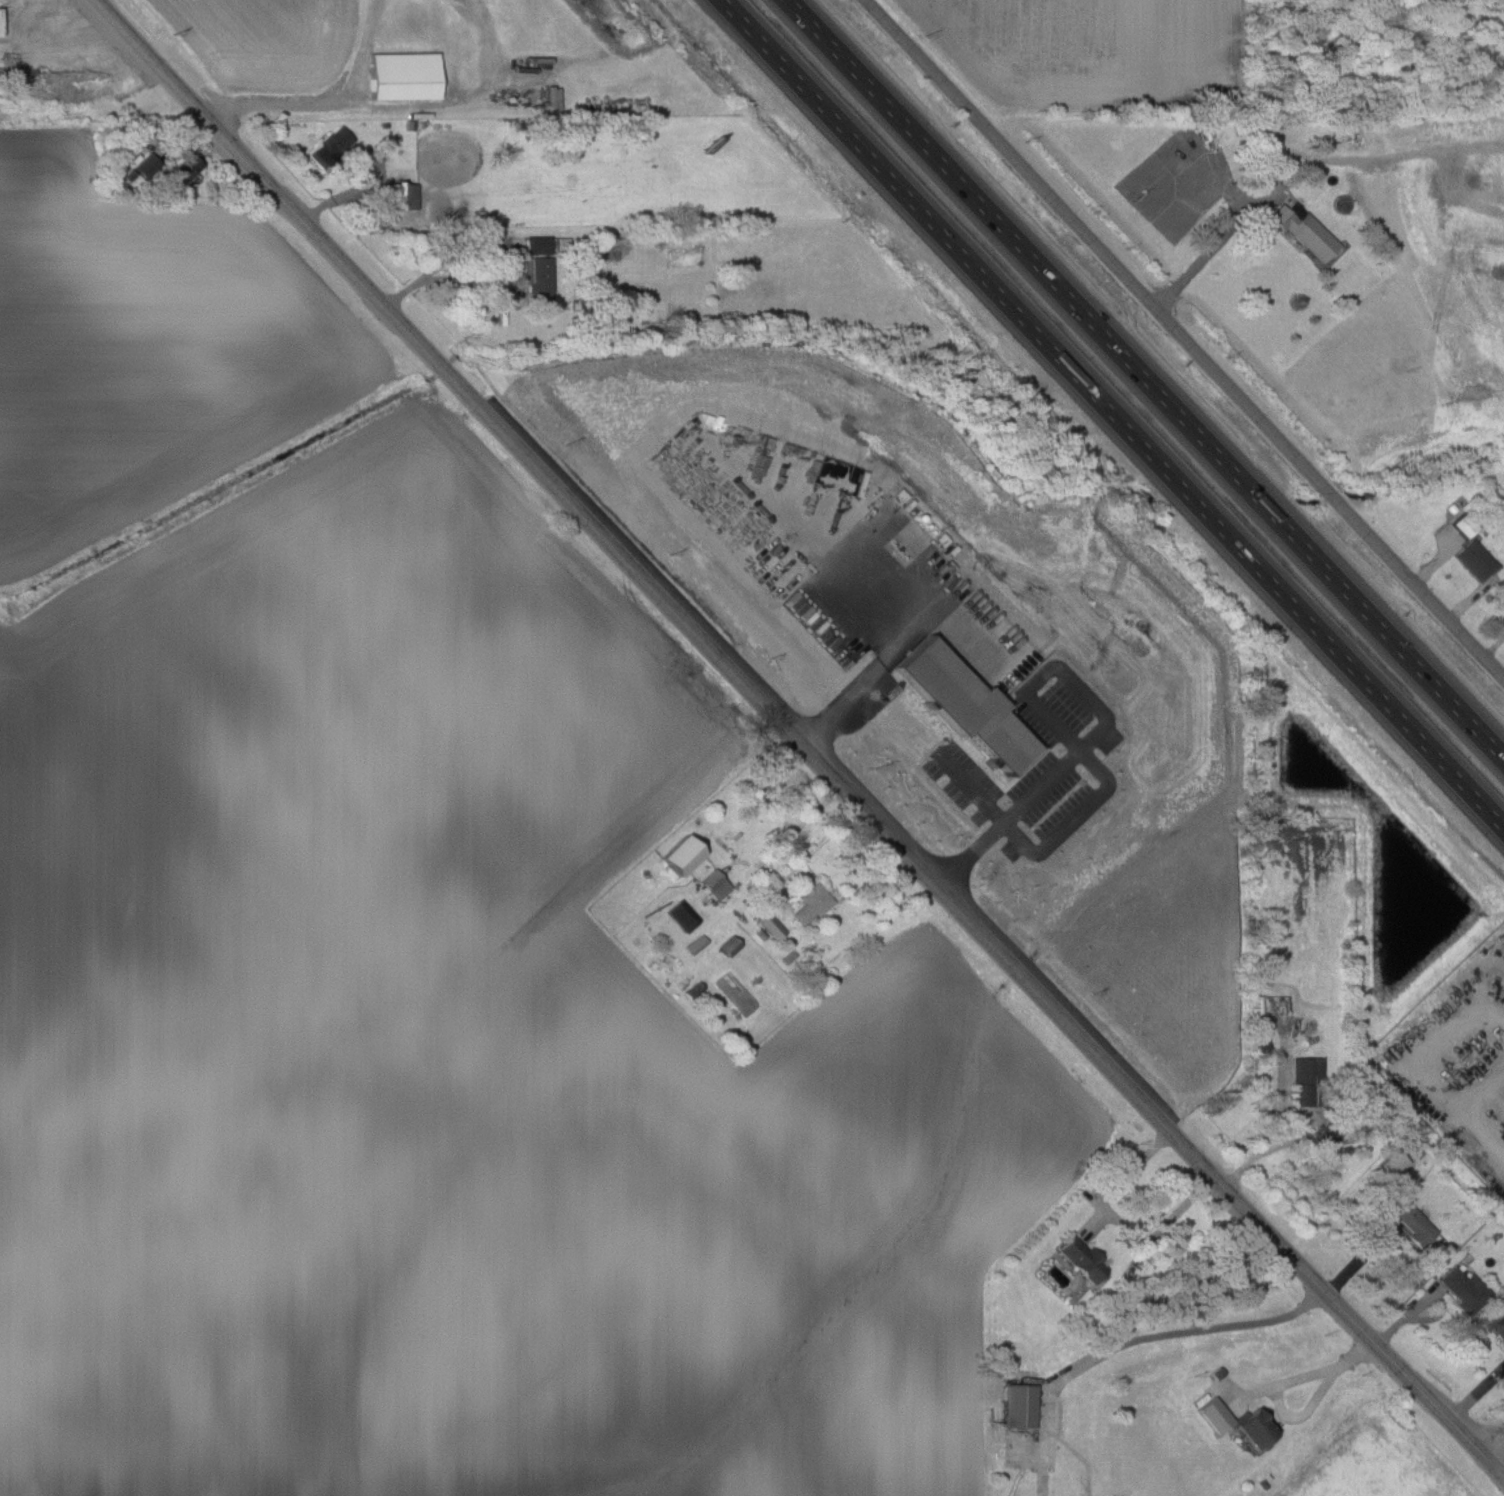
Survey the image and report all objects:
building: (0, 34)
road: (57, 35)
building: (404, 76)
road: (333, 104)
building: (331, 146)
building: (147, 166)
building: (186, 168)
building: (403, 196)
road: (1227, 231)
building: (1305, 231)
road: (495, 242)
building: (538, 245)
building: (539, 279)
road: (1185, 338)
road: (1147, 376)
road: (1109, 416)
building: (1464, 525)
building: (1476, 559)
building: (976, 679)
road: (1040, 700)
road: (796, 740)
building: (682, 854)
road: (776, 869)
building: (715, 883)
building: (810, 903)
building: (682, 915)
building: (772, 926)
building: (696, 944)
building: (729, 945)
building: (1256, 1004)
building: (1305, 1081)
building: (1327, 1133)
building: (1394, 1163)
road: (1123, 1181)
building: (1415, 1224)
building: (1083, 1259)
building: (1465, 1290)
building: (1498, 1327)
road: (1136, 1343)
road: (1287, 1385)
building: (1020, 1405)
building: (1216, 1415)
building: (1257, 1428)
road: (1493, 1439)
road: (1502, 1467)

